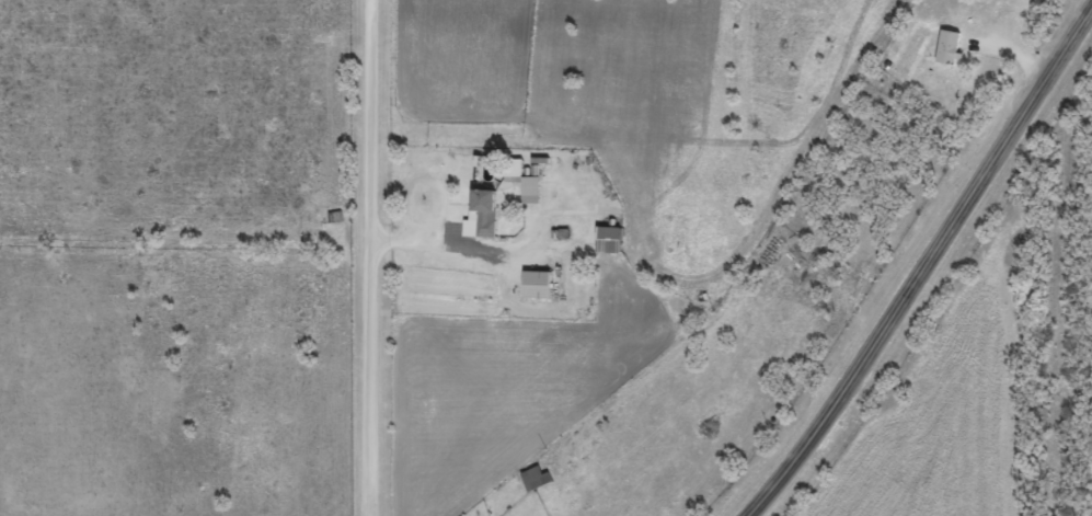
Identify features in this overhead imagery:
building: (949, 47)
building: (521, 180)
building: (481, 215)
building: (609, 240)
road: (370, 257)
road: (928, 273)
building: (537, 285)
building: (536, 479)

